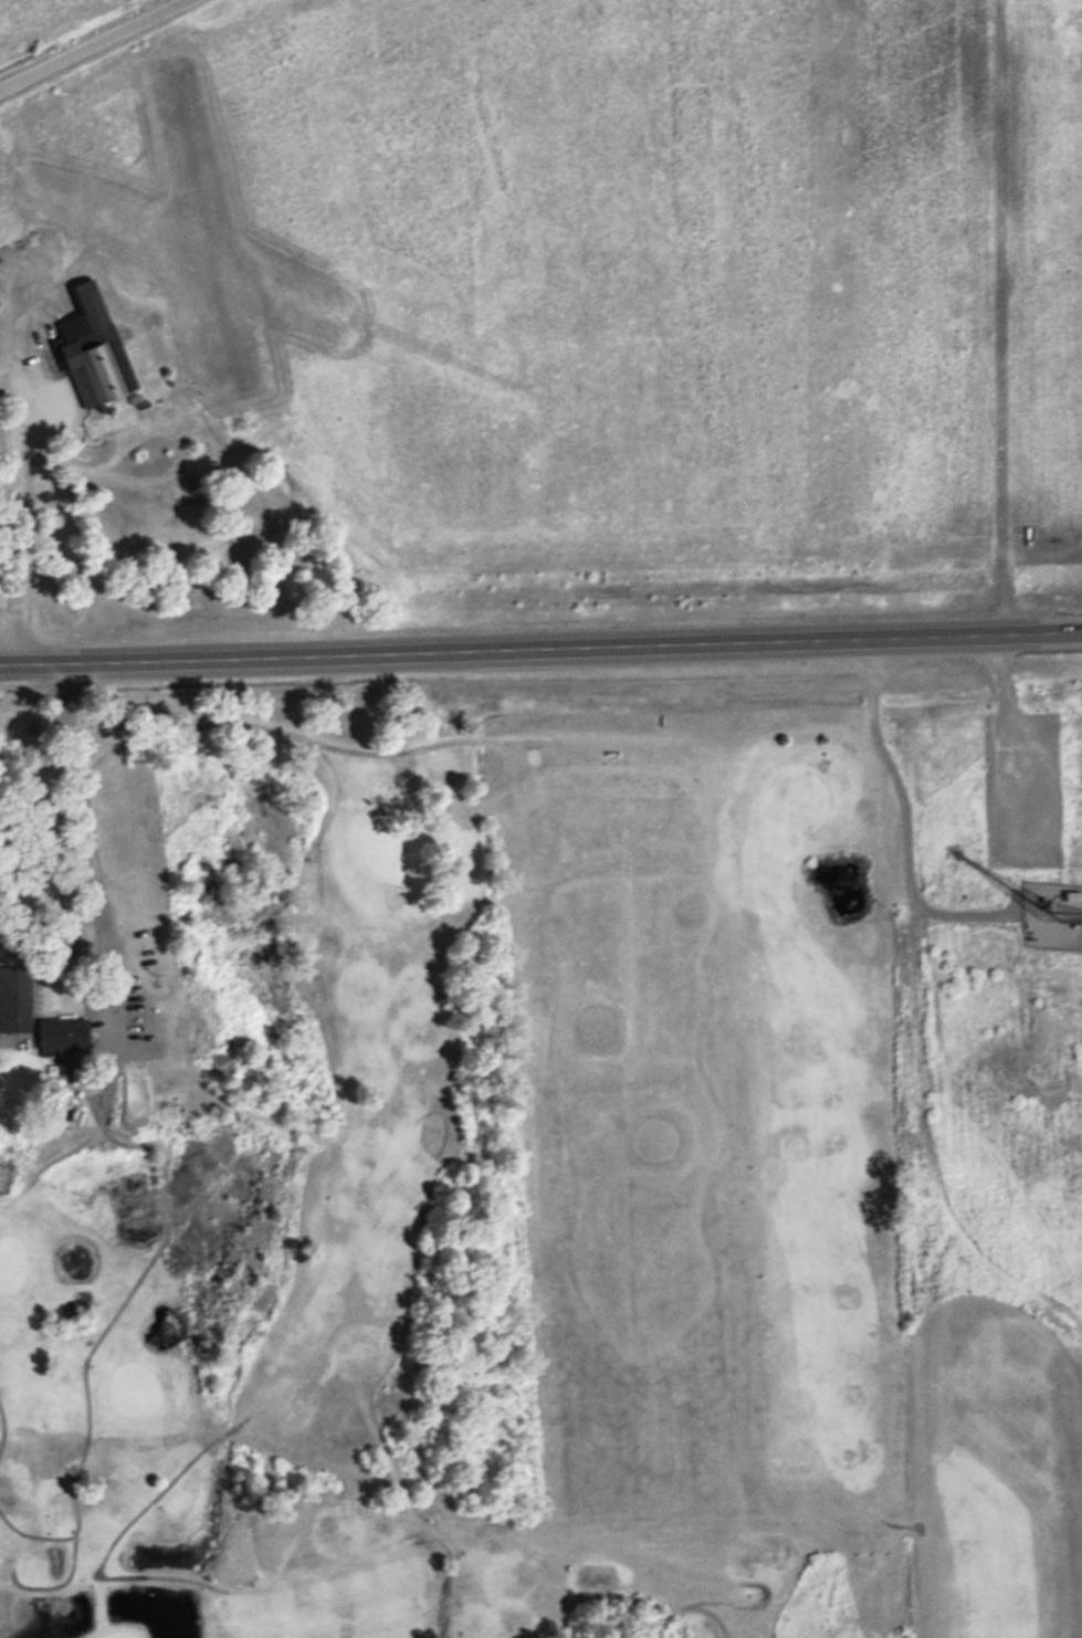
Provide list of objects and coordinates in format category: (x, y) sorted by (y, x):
road: (91, 42)
building: (90, 347)
road: (20, 515)
road: (540, 643)
building: (1051, 840)
building: (12, 999)
parking lot: (126, 1020)
building: (55, 1029)
park: (494, 1184)

